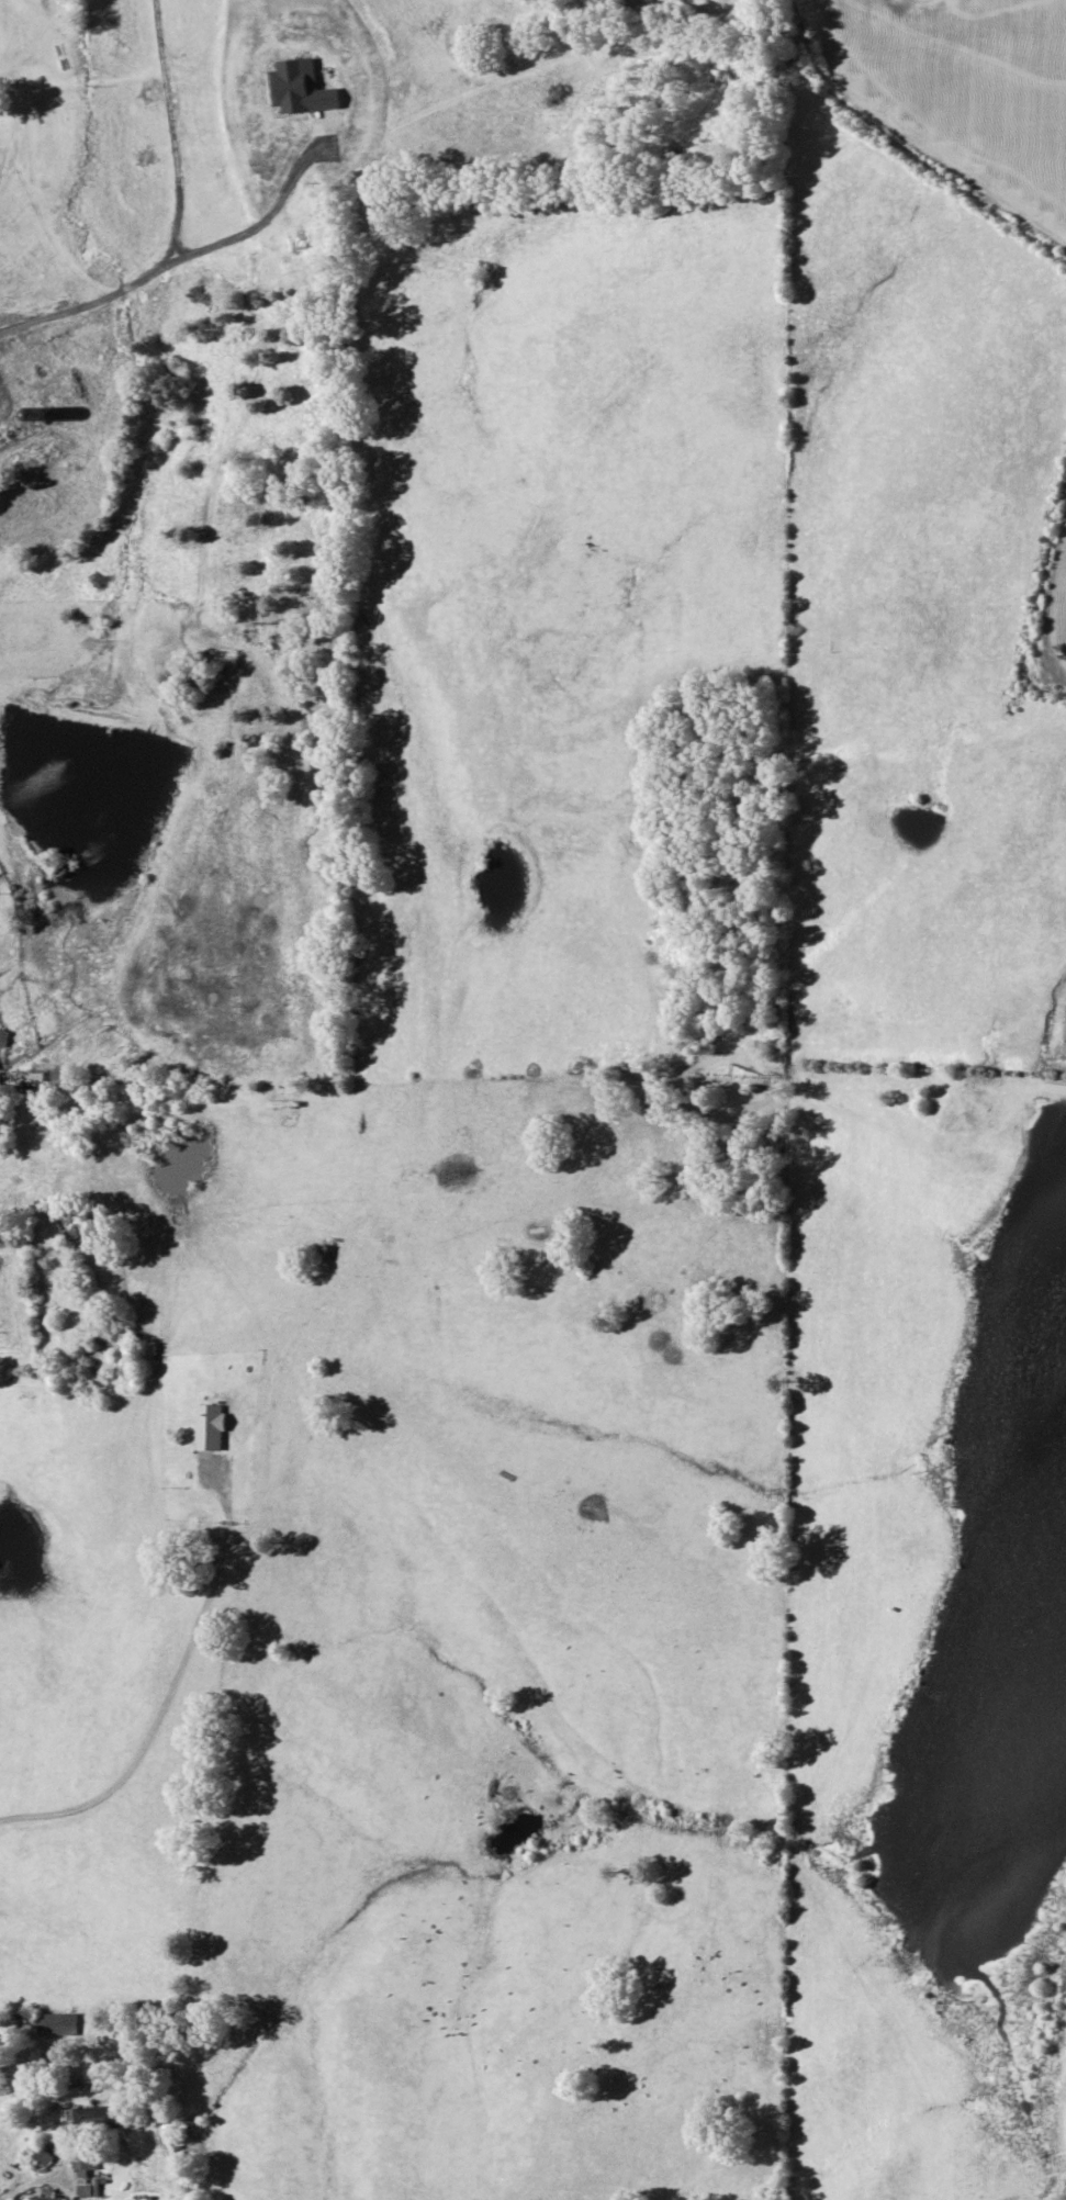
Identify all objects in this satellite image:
building: (291, 72)
road: (34, 1246)
building: (326, 1247)
building: (48, 2023)
building: (91, 2119)
building: (36, 2156)
road: (3, 2191)

